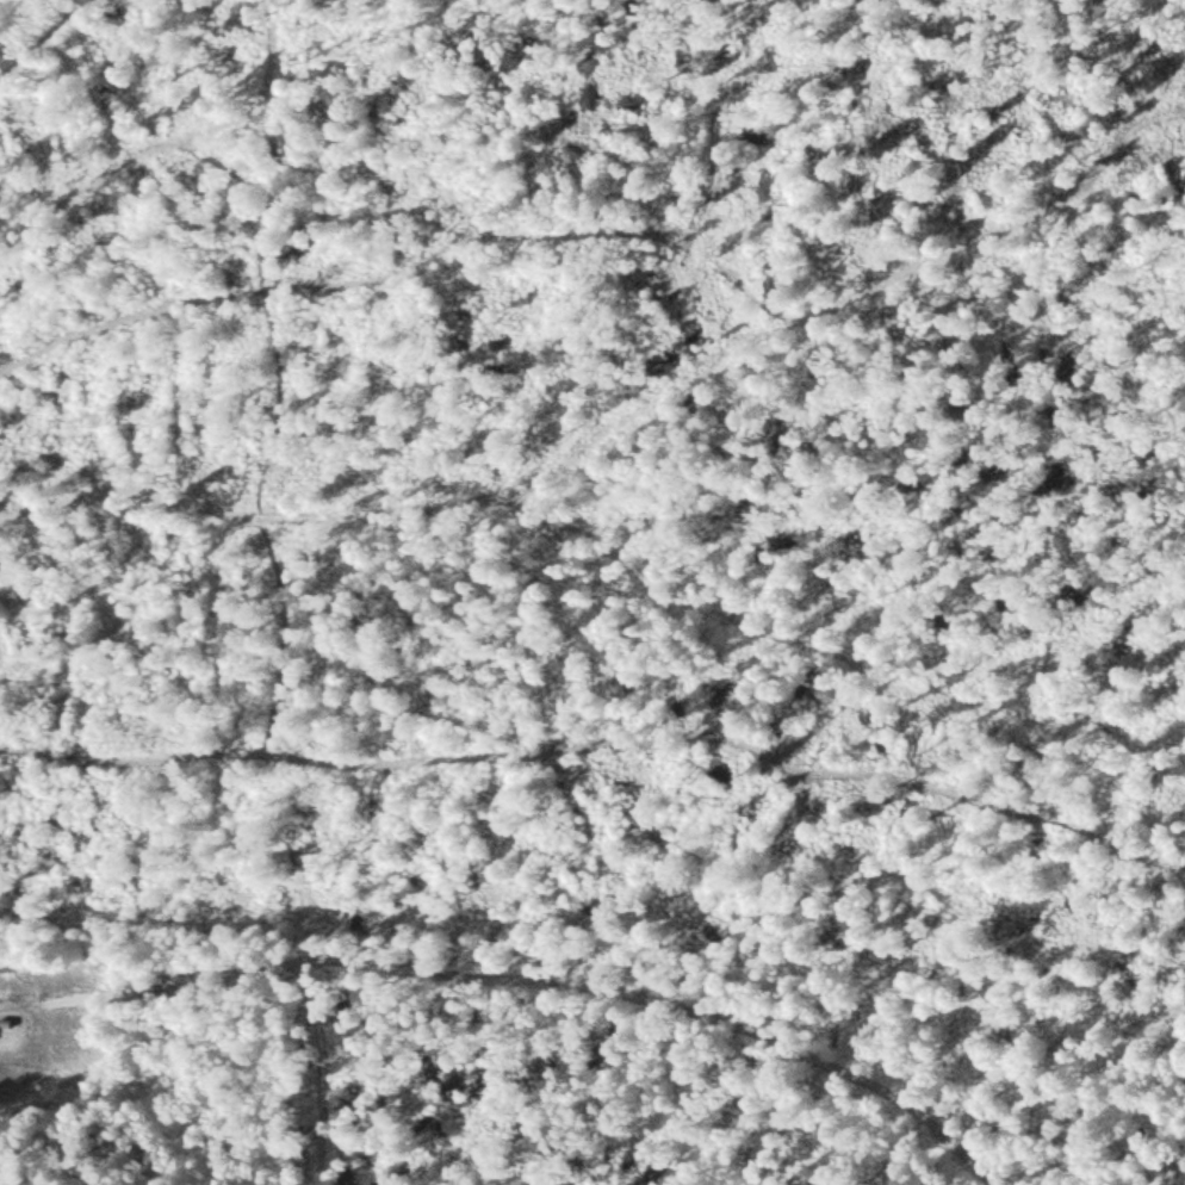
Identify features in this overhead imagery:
petroleum well: (2, 1031)

